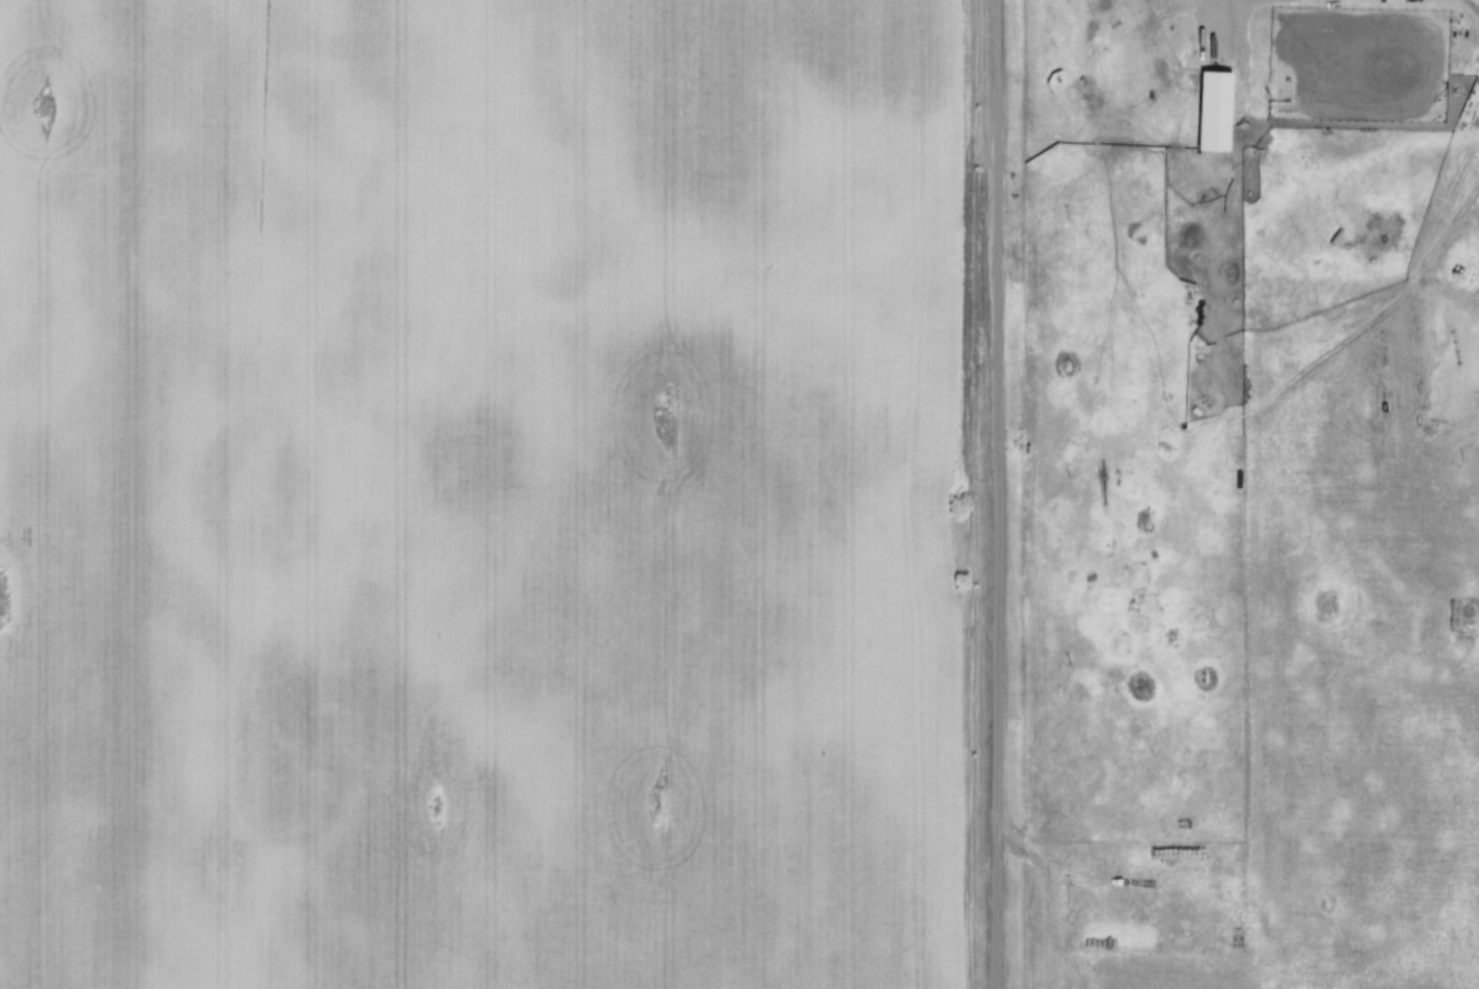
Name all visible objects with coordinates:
building: (1220, 113)
road: (1003, 494)

